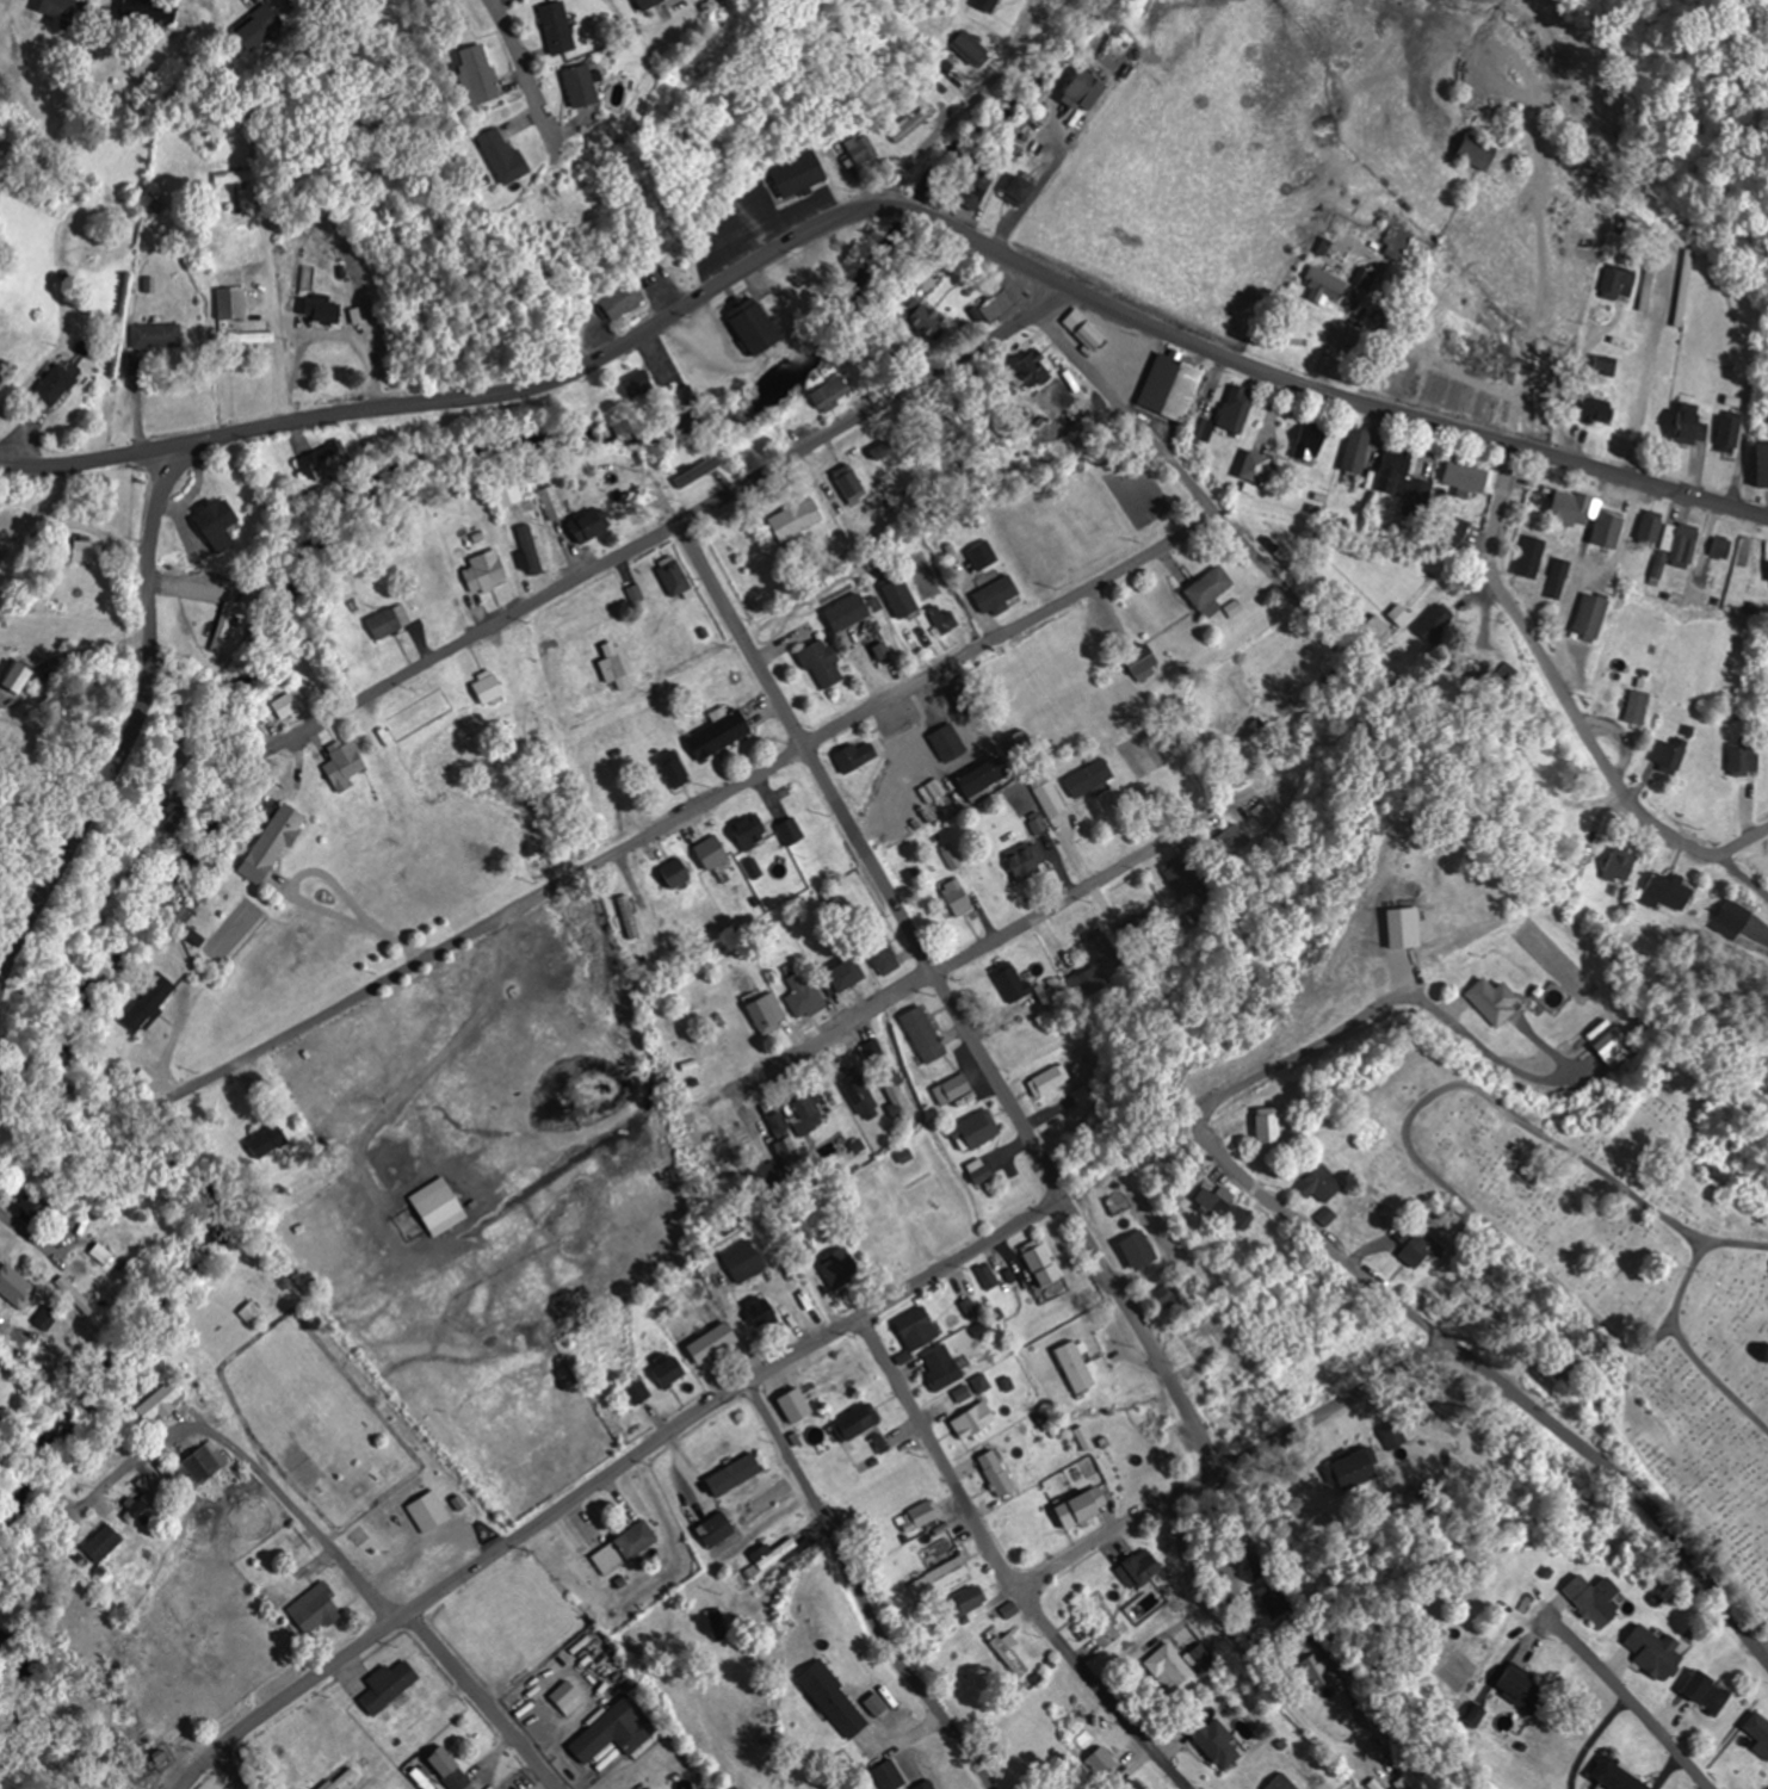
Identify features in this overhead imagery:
building: (644, 2)
building: (144, 8)
building: (61, 11)
building: (256, 25)
building: (556, 26)
road: (521, 70)
building: (474, 73)
building: (581, 85)
building: (1086, 87)
road: (960, 110)
building: (913, 122)
building: (860, 149)
building: (502, 154)
building: (1475, 154)
building: (798, 174)
building: (236, 175)
building: (975, 181)
building: (1019, 187)
building: (564, 208)
building: (1362, 277)
building: (1618, 281)
building: (1646, 287)
building: (1683, 287)
road: (706, 293)
building: (623, 299)
building: (229, 302)
building: (995, 303)
building: (319, 308)
building: (922, 326)
building: (747, 328)
building: (1083, 329)
building: (156, 334)
building: (251, 336)
building: (636, 385)
building: (1169, 388)
building: (829, 394)
building: (1236, 408)
building: (1596, 408)
building: (1689, 425)
building: (1200, 427)
building: (1730, 434)
building: (1309, 441)
building: (1355, 450)
building: (880, 451)
road: (99, 458)
building: (320, 462)
building: (1762, 465)
building: (700, 468)
building: (1255, 468)
building: (1466, 476)
road: (1182, 477)
building: (1403, 482)
building: (849, 487)
building: (507, 493)
building: (620, 494)
building: (549, 503)
building: (1571, 508)
building: (793, 519)
building: (217, 522)
road: (669, 525)
building: (582, 528)
building: (1607, 530)
building: (1650, 530)
building: (511, 543)
building: (1679, 543)
building: (1723, 546)
building: (1529, 556)
building: (973, 561)
building: (482, 572)
building: (670, 576)
building: (1556, 577)
building: (1208, 592)
building: (995, 595)
building: (900, 598)
building: (846, 612)
building: (1398, 614)
building: (1590, 617)
building: (387, 621)
building: (945, 623)
building: (1433, 624)
building: (221, 626)
building: (1373, 629)
building: (1142, 661)
building: (820, 663)
building: (1476, 664)
building: (1508, 671)
building: (16, 676)
building: (486, 686)
road: (1568, 701)
building: (290, 705)
building: (1637, 707)
building: (717, 735)
building: (947, 743)
building: (855, 756)
building: (1668, 756)
building: (1743, 759)
building: (340, 763)
building: (670, 768)
building: (983, 779)
building: (1089, 779)
building: (1050, 798)
road: (698, 809)
building: (175, 816)
building: (747, 830)
building: (790, 831)
building: (270, 843)
building: (711, 852)
building: (1022, 861)
building: (675, 873)
building: (1180, 880)
building: (1669, 893)
building: (956, 896)
building: (628, 916)
building: (1405, 927)
building: (883, 955)
building: (1096, 962)
building: (845, 976)
road: (920, 983)
building: (1007, 986)
building: (1052, 992)
building: (803, 997)
road: (946, 997)
building: (1496, 1001)
building: (147, 1003)
building: (766, 1013)
building: (922, 1033)
building: (1614, 1046)
building: (1046, 1082)
building: (952, 1089)
building: (857, 1091)
building: (897, 1100)
building: (803, 1114)
building: (1267, 1126)
building: (977, 1131)
building: (780, 1138)
building: (265, 1141)
building: (978, 1171)
building: (1321, 1184)
road: (1637, 1197)
building: (1218, 1200)
building: (438, 1206)
road: (1475, 1211)
building: (1371, 1213)
building: (1242, 1217)
building: (889, 1232)
building: (1415, 1243)
building: (1138, 1250)
building: (99, 1253)
building: (742, 1261)
building: (836, 1267)
building: (1043, 1267)
park: (1624, 1273)
road: (1684, 1277)
building: (16, 1287)
road: (903, 1287)
building: (1170, 1294)
building: (74, 1295)
road: (1384, 1298)
building: (759, 1310)
building: (248, 1311)
building: (916, 1327)
building: (711, 1343)
building: (940, 1366)
building: (1074, 1367)
building: (667, 1370)
road: (1716, 1378)
building: (637, 1392)
building: (152, 1400)
building: (972, 1419)
building: (854, 1423)
building: (1393, 1435)
road: (249, 1463)
building: (200, 1465)
road: (1229, 1465)
building: (1353, 1471)
building: (996, 1473)
building: (141, 1500)
building: (432, 1510)
building: (1074, 1511)
building: (715, 1529)
building: (100, 1543)
building: (624, 1547)
building: (775, 1553)
road: (1002, 1566)
building: (1255, 1566)
building: (1138, 1568)
road: (456, 1576)
building: (940, 1578)
road: (858, 1590)
building: (1275, 1599)
building: (1595, 1599)
building: (315, 1609)
building: (1094, 1616)
road: (1764, 1651)
building: (1008, 1652)
building: (1655, 1652)
building: (1170, 1670)
building: (388, 1684)
building: (1526, 1691)
building: (1707, 1692)
building: (565, 1696)
road: (1627, 1698)
road: (482, 1700)
building: (834, 1700)
building: (876, 1704)
building: (1758, 1728)
building: (614, 1729)
building: (161, 1758)
building: (1100, 1760)
building: (449, 1768)
road: (234, 1769)
building: (889, 1773)
building: (1616, 1776)
building: (339, 1778)
building: (422, 1778)
building: (1281, 1783)
building: (925, 1784)

